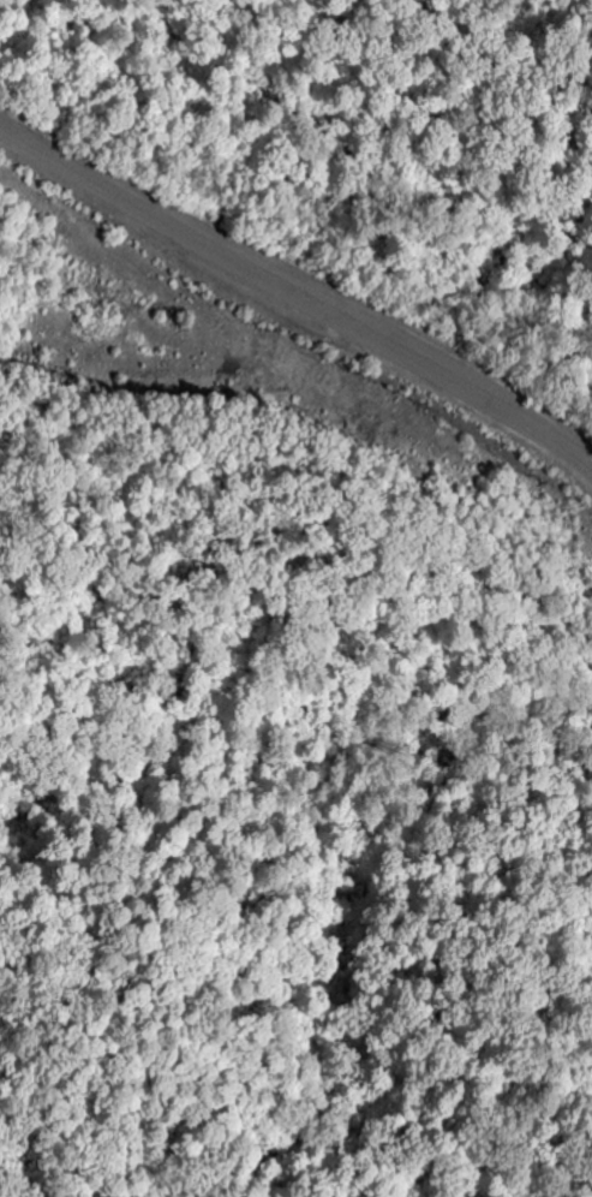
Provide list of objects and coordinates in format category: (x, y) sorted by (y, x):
road: (299, 302)

